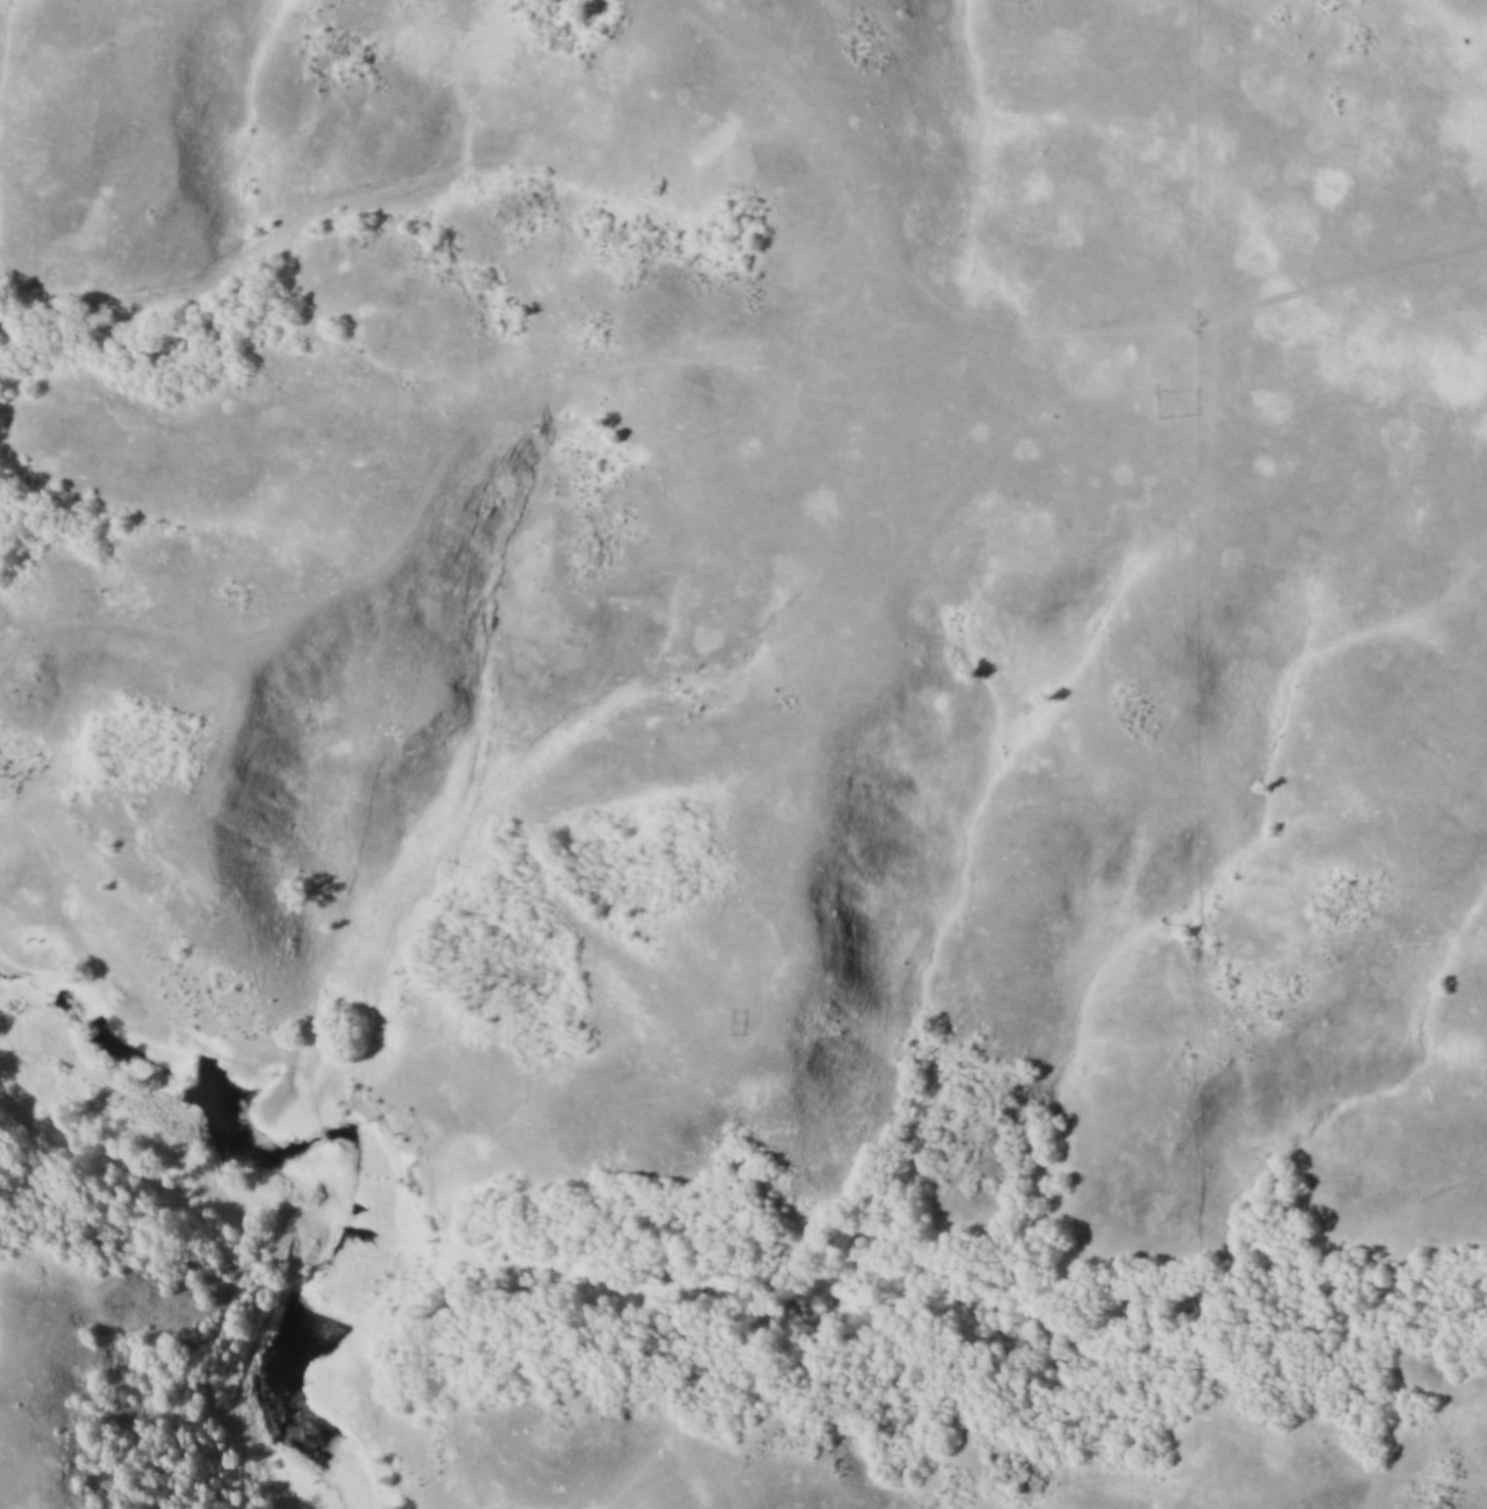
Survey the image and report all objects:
road: (853, 145)
road: (702, 363)

